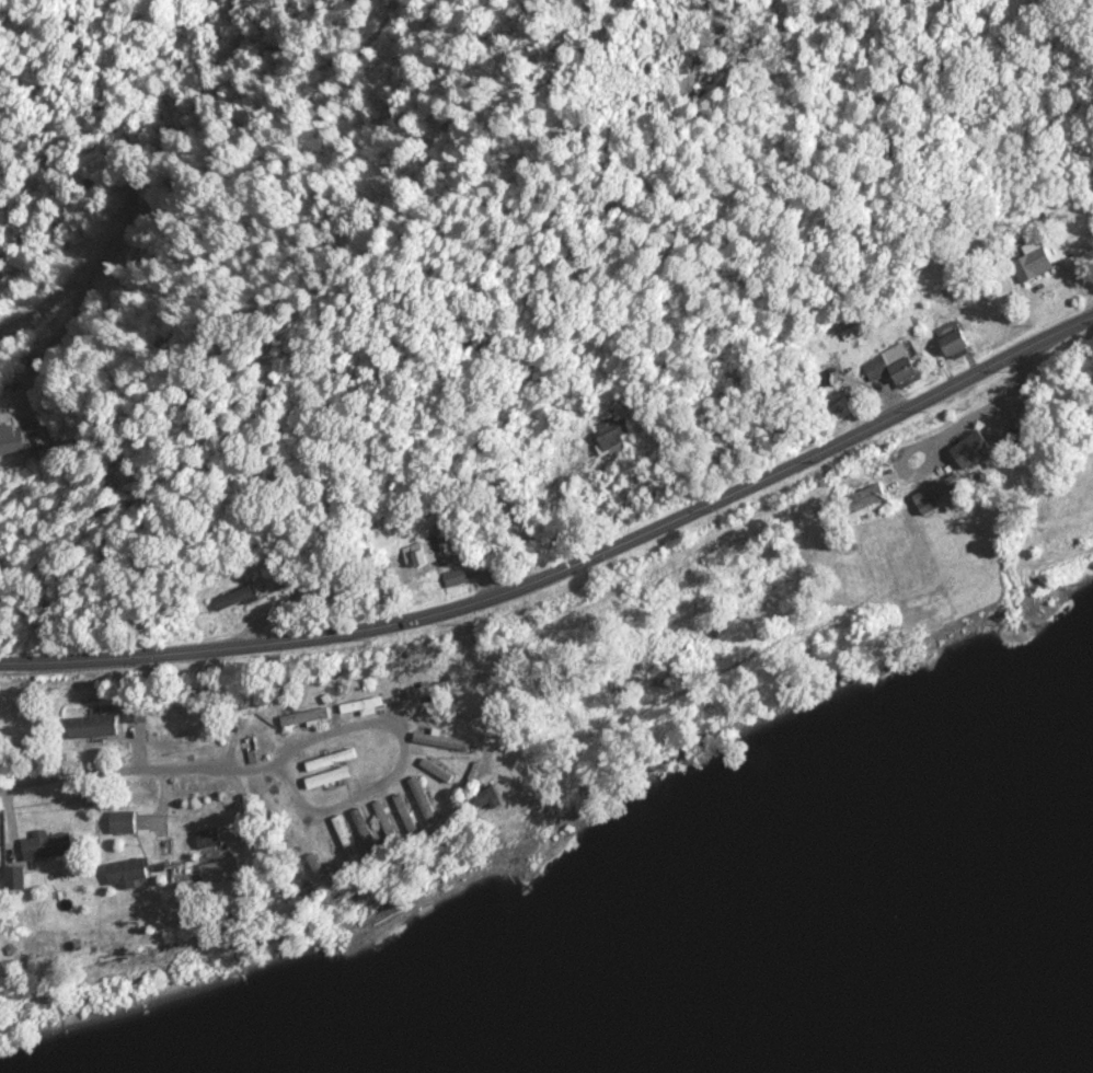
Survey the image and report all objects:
building: (1029, 262)
building: (947, 338)
building: (890, 367)
building: (610, 434)
building: (32, 443)
building: (965, 450)
road: (790, 468)
building: (453, 579)
building: (244, 599)
road: (241, 646)
building: (426, 691)
building: (139, 714)
building: (303, 718)
building: (97, 727)
building: (438, 741)
building: (488, 746)
building: (327, 761)
road: (402, 763)
road: (137, 768)
building: (441, 770)
building: (325, 778)
building: (429, 800)
building: (496, 801)
building: (412, 812)
building: (127, 823)
building: (393, 823)
building: (372, 832)
building: (215, 839)
building: (51, 849)
building: (336, 855)
building: (228, 872)
building: (134, 874)
river: (1019, 1039)

